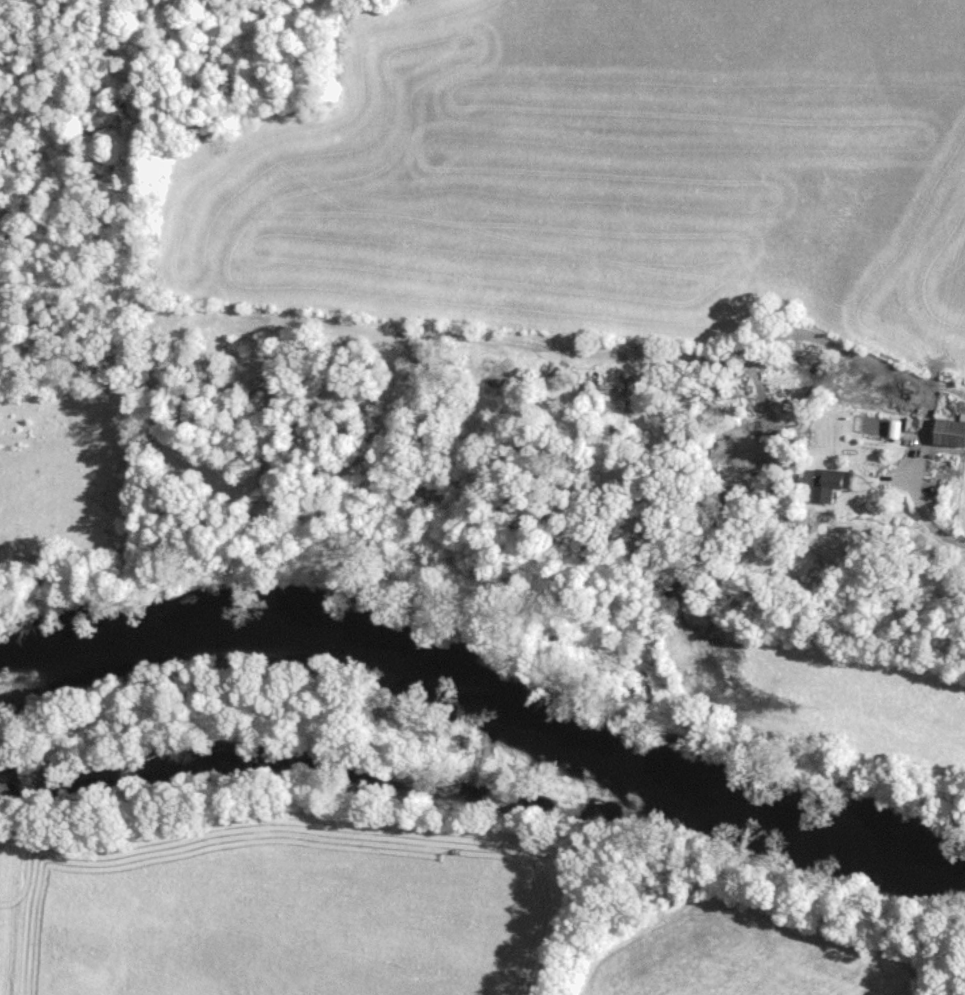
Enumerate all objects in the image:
road: (927, 385)
building: (950, 431)
building: (829, 482)
river: (487, 704)

